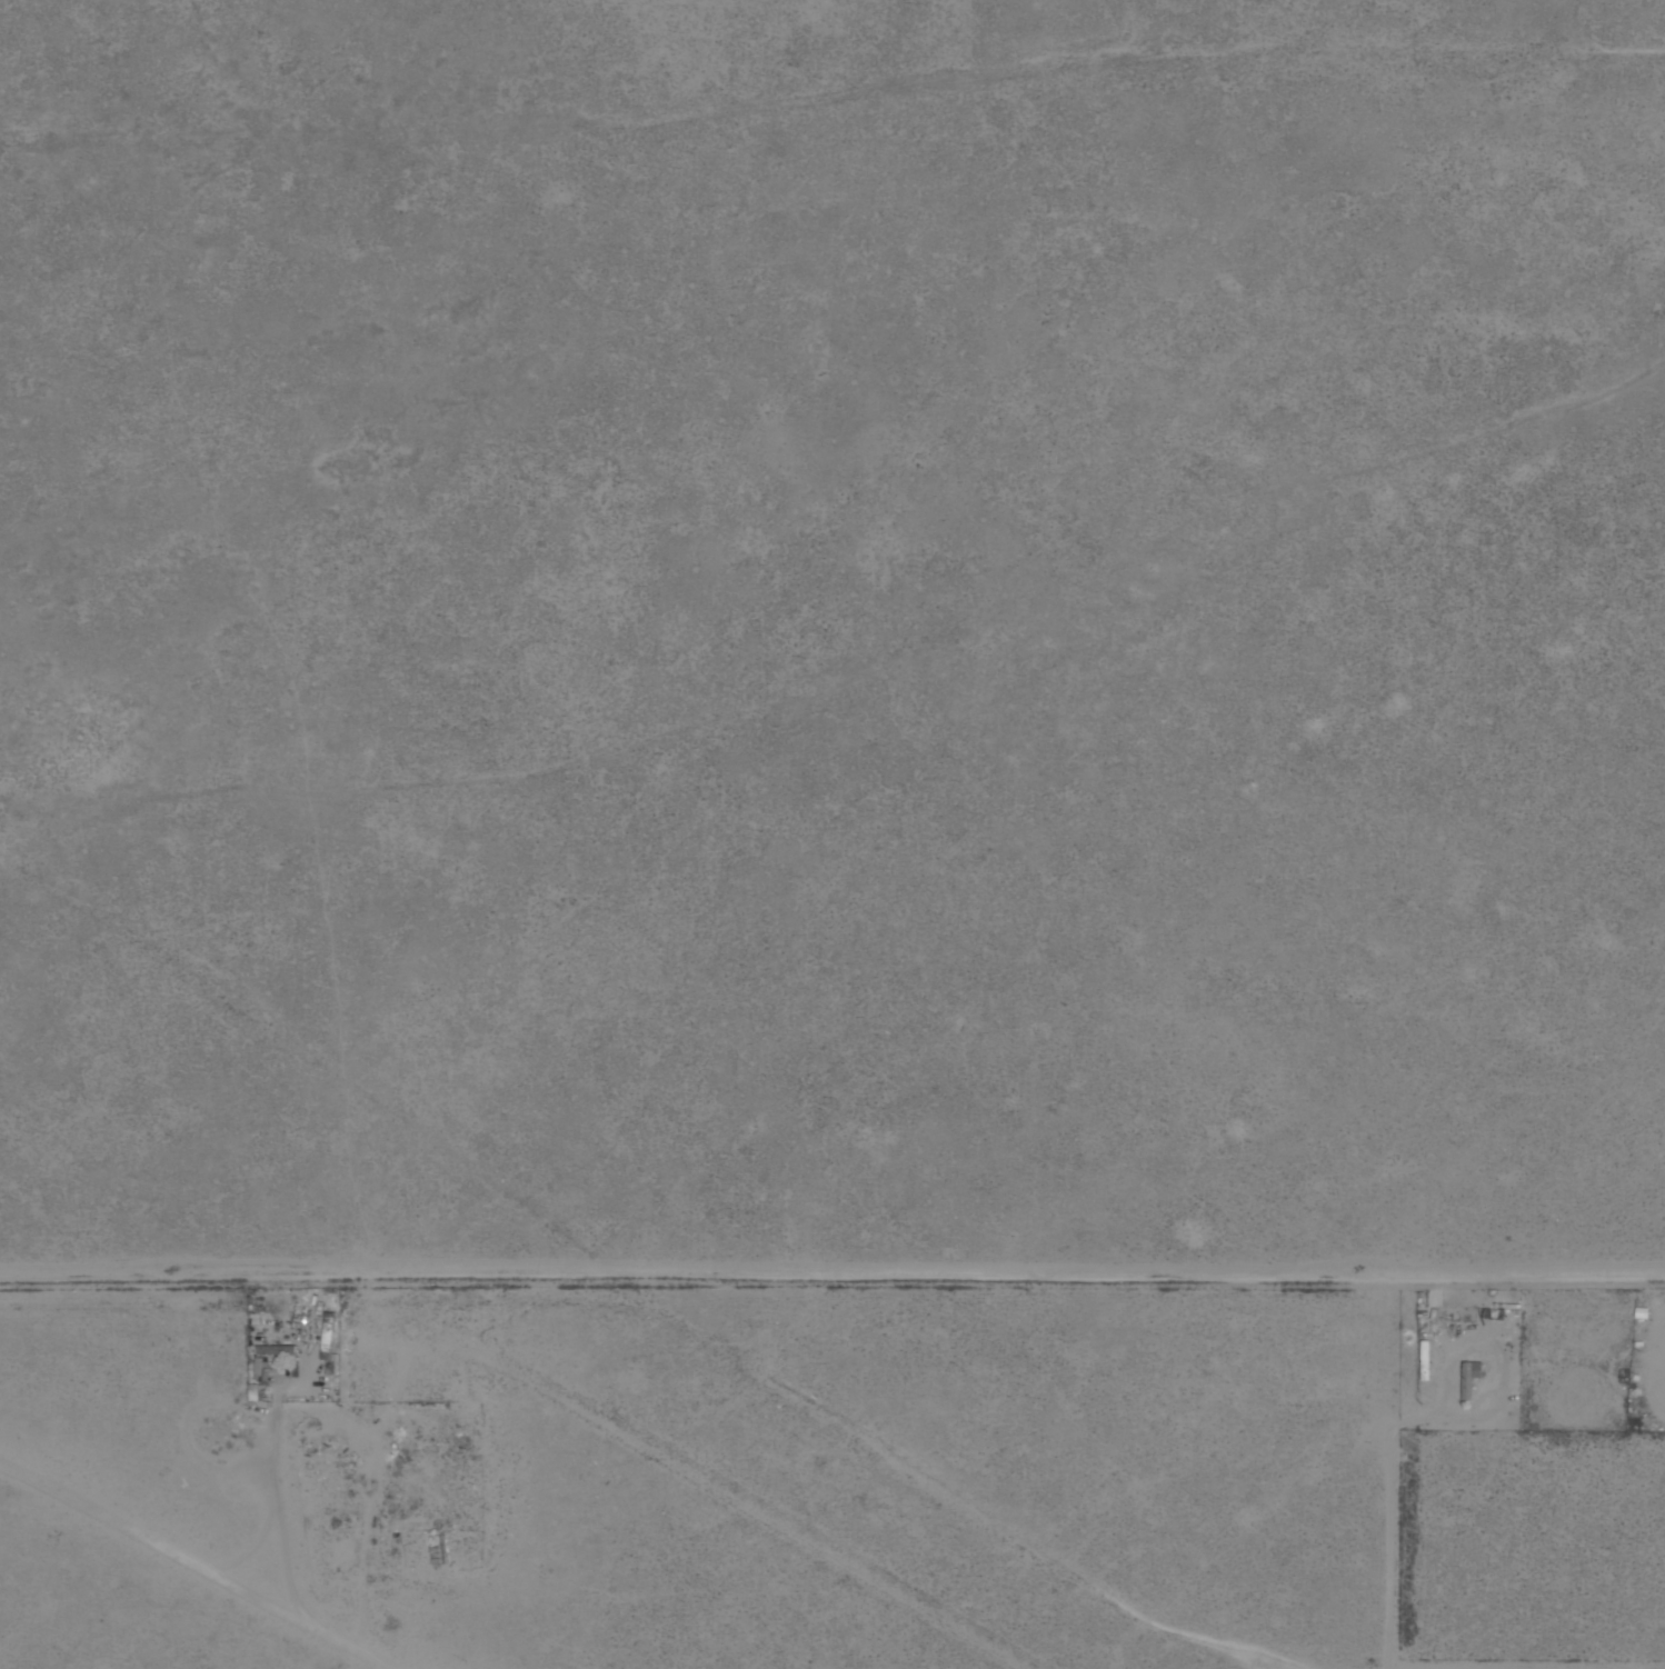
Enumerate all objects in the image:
road: (832, 1275)
building: (328, 1342)
building: (276, 1350)
building: (1426, 1360)
building: (1462, 1380)
building: (320, 1457)
road: (277, 1500)
road: (248, 1547)
building: (438, 1550)
road: (205, 1562)
road: (387, 1663)

